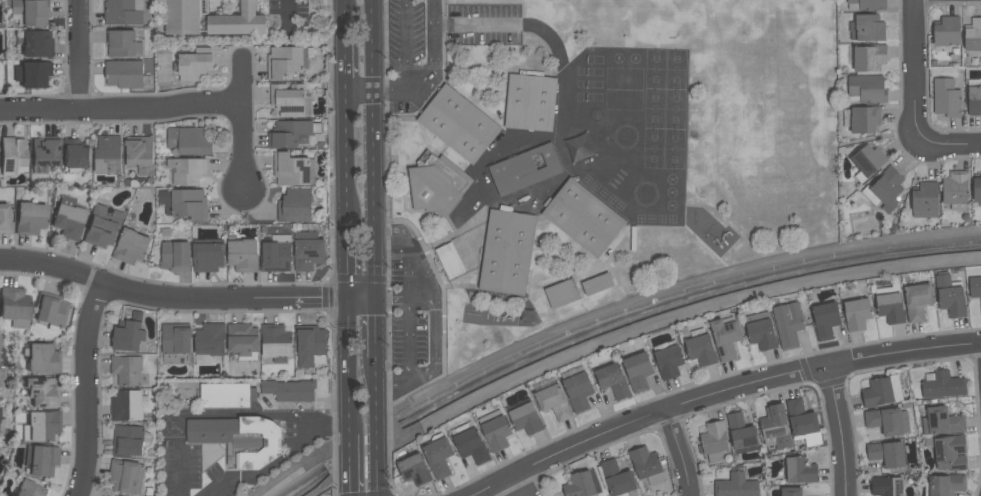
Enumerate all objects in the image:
building: (866, 4)
road: (288, 9)
road: (345, 11)
building: (29, 12)
building: (123, 12)
building: (210, 19)
building: (866, 28)
building: (946, 32)
building: (973, 35)
building: (121, 43)
building: (36, 44)
road: (405, 44)
road: (80, 55)
road: (345, 57)
building: (868, 58)
building: (287, 61)
building: (194, 64)
road: (431, 67)
building: (32, 74)
building: (124, 74)
road: (916, 74)
building: (866, 89)
road: (361, 92)
building: (946, 98)
building: (288, 100)
building: (974, 101)
building: (530, 103)
road: (123, 111)
building: (861, 119)
building: (458, 125)
road: (245, 126)
building: (291, 133)
building: (190, 141)
road: (376, 147)
road: (949, 148)
building: (43, 154)
building: (139, 154)
road: (346, 154)
building: (75, 155)
building: (13, 156)
building: (107, 156)
building: (867, 162)
building: (525, 169)
building: (293, 170)
building: (186, 171)
building: (435, 183)
building: (885, 190)
building: (956, 190)
building: (977, 191)
building: (925, 200)
building: (184, 203)
building: (295, 206)
building: (29, 218)
building: (68, 218)
building: (583, 218)
building: (4, 219)
building: (102, 227)
building: (130, 247)
building: (307, 251)
building: (506, 253)
building: (242, 254)
building: (276, 254)
building: (208, 255)
road: (346, 255)
building: (175, 257)
building: (450, 261)
building: (597, 284)
building: (975, 287)
building: (562, 293)
road: (404, 295)
building: (950, 296)
road: (185, 298)
building: (917, 301)
building: (889, 302)
building: (14, 306)
building: (50, 310)
road: (434, 314)
building: (856, 314)
building: (825, 320)
building: (788, 324)
road: (377, 326)
building: (761, 331)
building: (129, 334)
building: (725, 338)
building: (209, 341)
building: (242, 341)
building: (174, 342)
building: (275, 342)
building: (310, 345)
building: (701, 348)
building: (2, 355)
building: (41, 358)
building: (668, 359)
road: (347, 364)
building: (126, 370)
building: (638, 371)
building: (2, 373)
building: (613, 381)
building: (942, 384)
building: (577, 389)
road: (87, 390)
building: (289, 390)
building: (882, 391)
building: (41, 392)
building: (226, 395)
road: (720, 396)
building: (555, 403)
building: (127, 405)
building: (526, 419)
building: (888, 421)
building: (942, 421)
building: (803, 423)
building: (2, 424)
road: (305, 425)
building: (41, 426)
road: (377, 427)
building: (775, 427)
road: (840, 431)
building: (496, 433)
building: (741, 434)
building: (129, 441)
building: (239, 441)
building: (713, 441)
building: (470, 443)
building: (948, 452)
building: (886, 453)
building: (438, 455)
road: (678, 455)
building: (40, 460)
building: (645, 464)
road: (348, 465)
building: (800, 470)
building: (414, 471)
road: (181, 473)
road: (265, 474)
building: (126, 476)
building: (617, 479)
building: (580, 485)
building: (735, 485)
building: (946, 485)
road: (520, 486)
building: (886, 486)
building: (29, 489)
building: (791, 492)
building: (116, 495)

